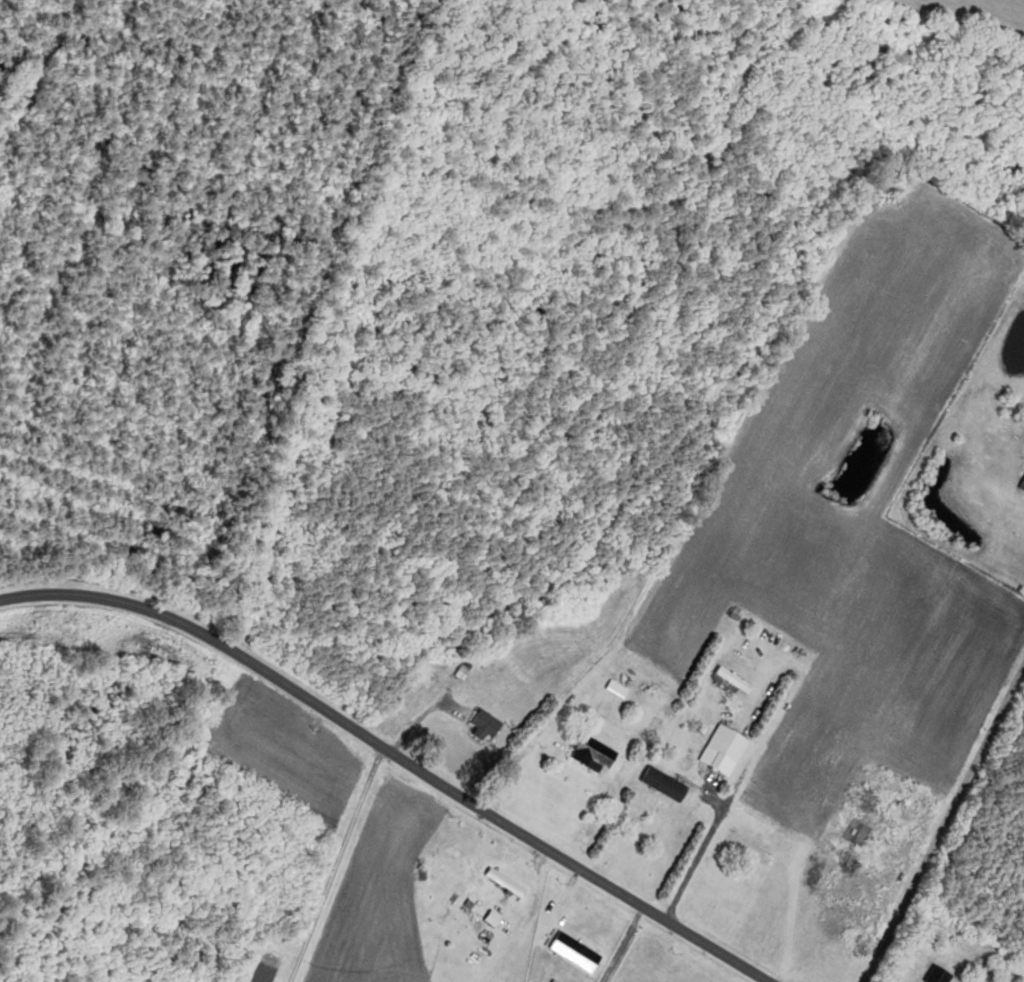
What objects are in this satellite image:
building: (417, 671)
building: (734, 683)
building: (480, 725)
building: (718, 751)
building: (588, 754)
road: (393, 757)
road: (508, 764)
building: (659, 784)
road: (944, 822)
building: (746, 849)
road: (696, 857)
road: (337, 866)
building: (835, 929)
building: (570, 952)

